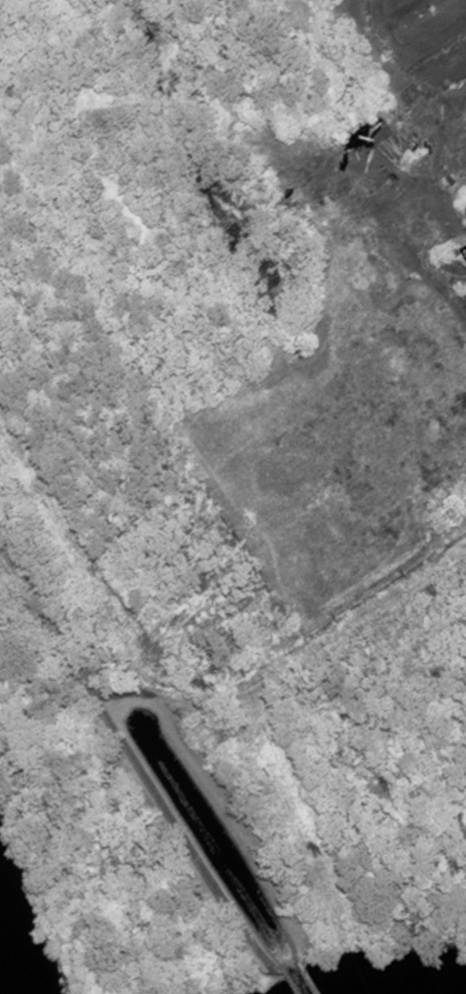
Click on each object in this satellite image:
building: (307, 342)
road: (59, 640)
road: (320, 655)
road: (220, 807)
power tower: (316, 851)
road: (195, 859)
road: (290, 984)

